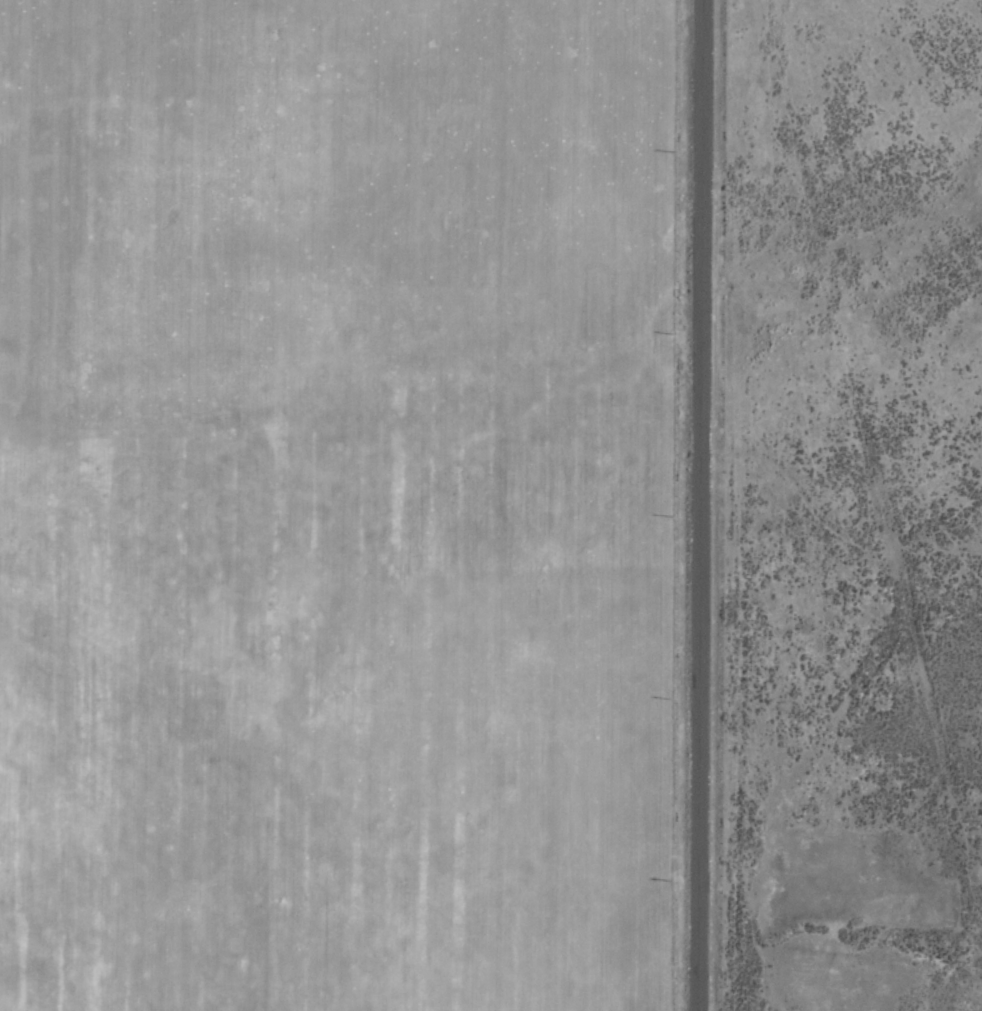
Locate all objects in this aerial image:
crop: (448, 472)
road: (697, 505)

